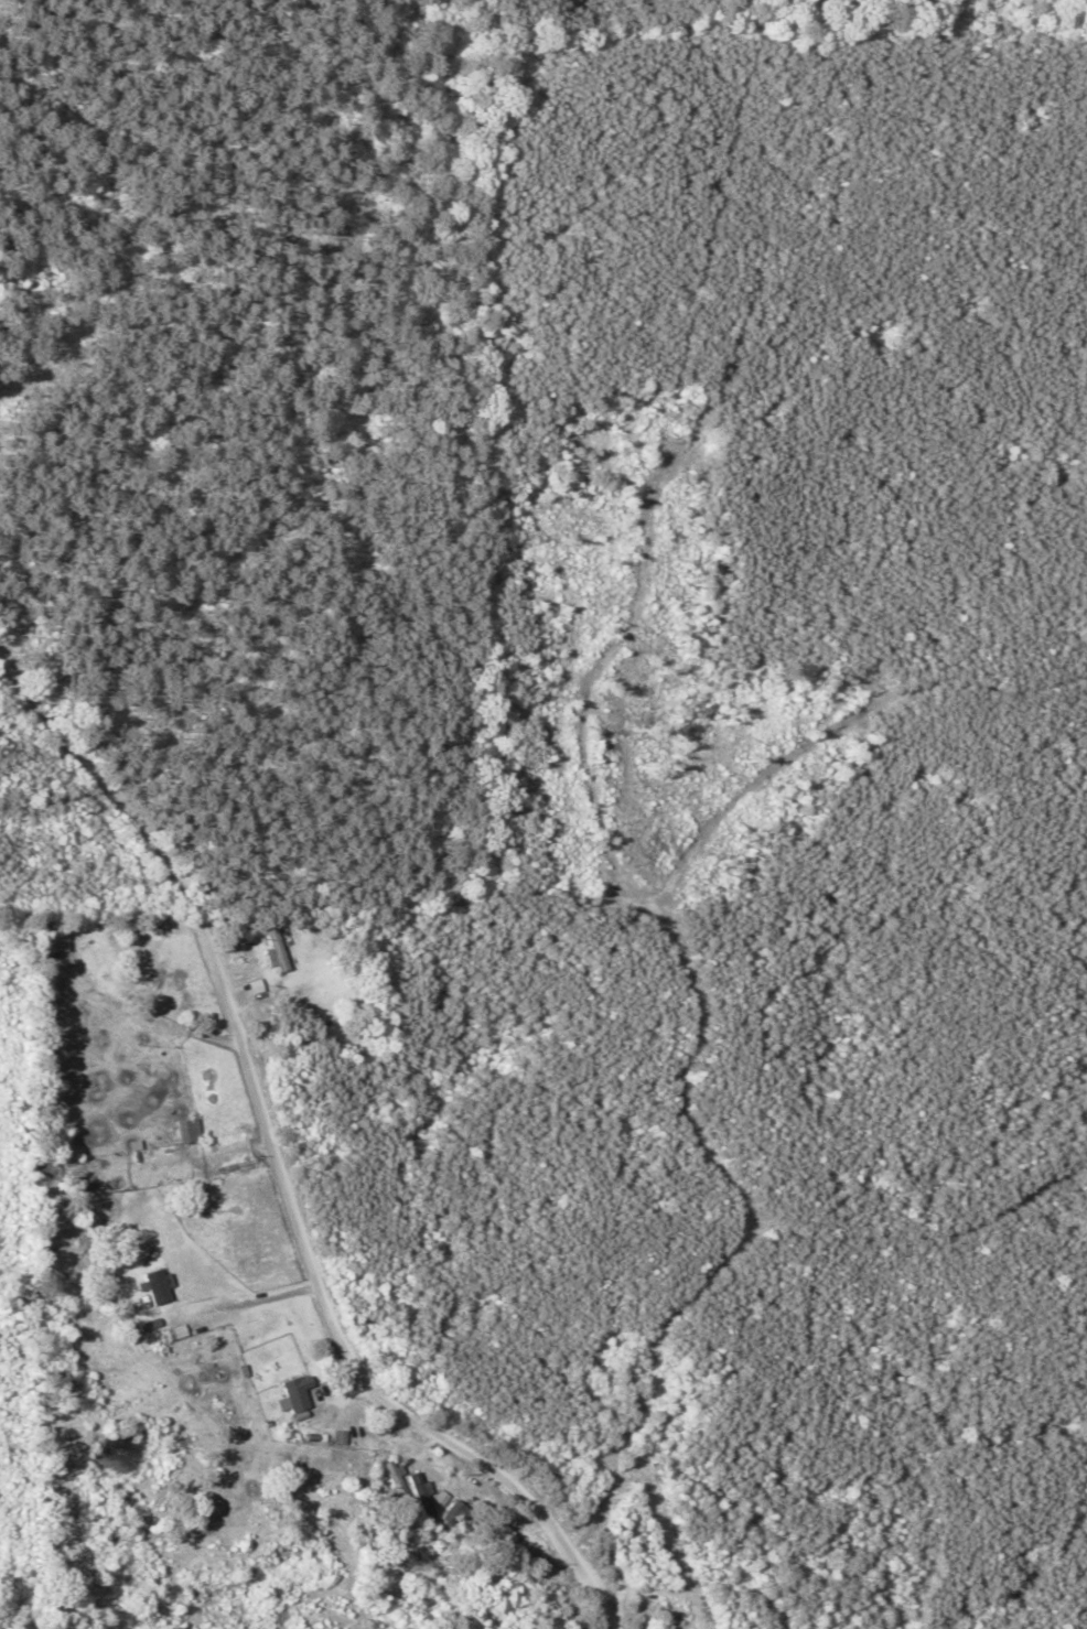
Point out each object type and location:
building: (53, 939)
building: (272, 948)
building: (185, 1131)
road: (282, 1169)
building: (134, 1255)
building: (158, 1286)
building: (290, 1394)
building: (402, 1481)
building: (448, 1498)
building: (461, 1511)

